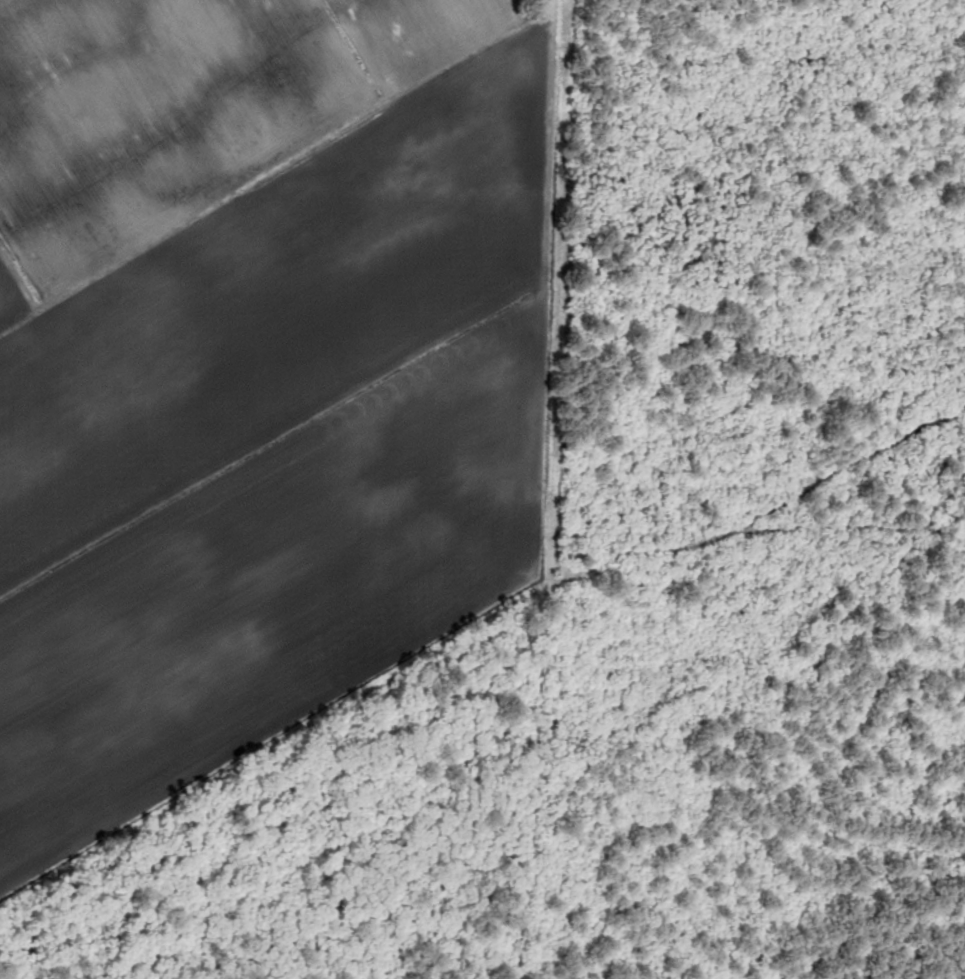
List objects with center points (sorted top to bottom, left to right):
road: (549, 279)

